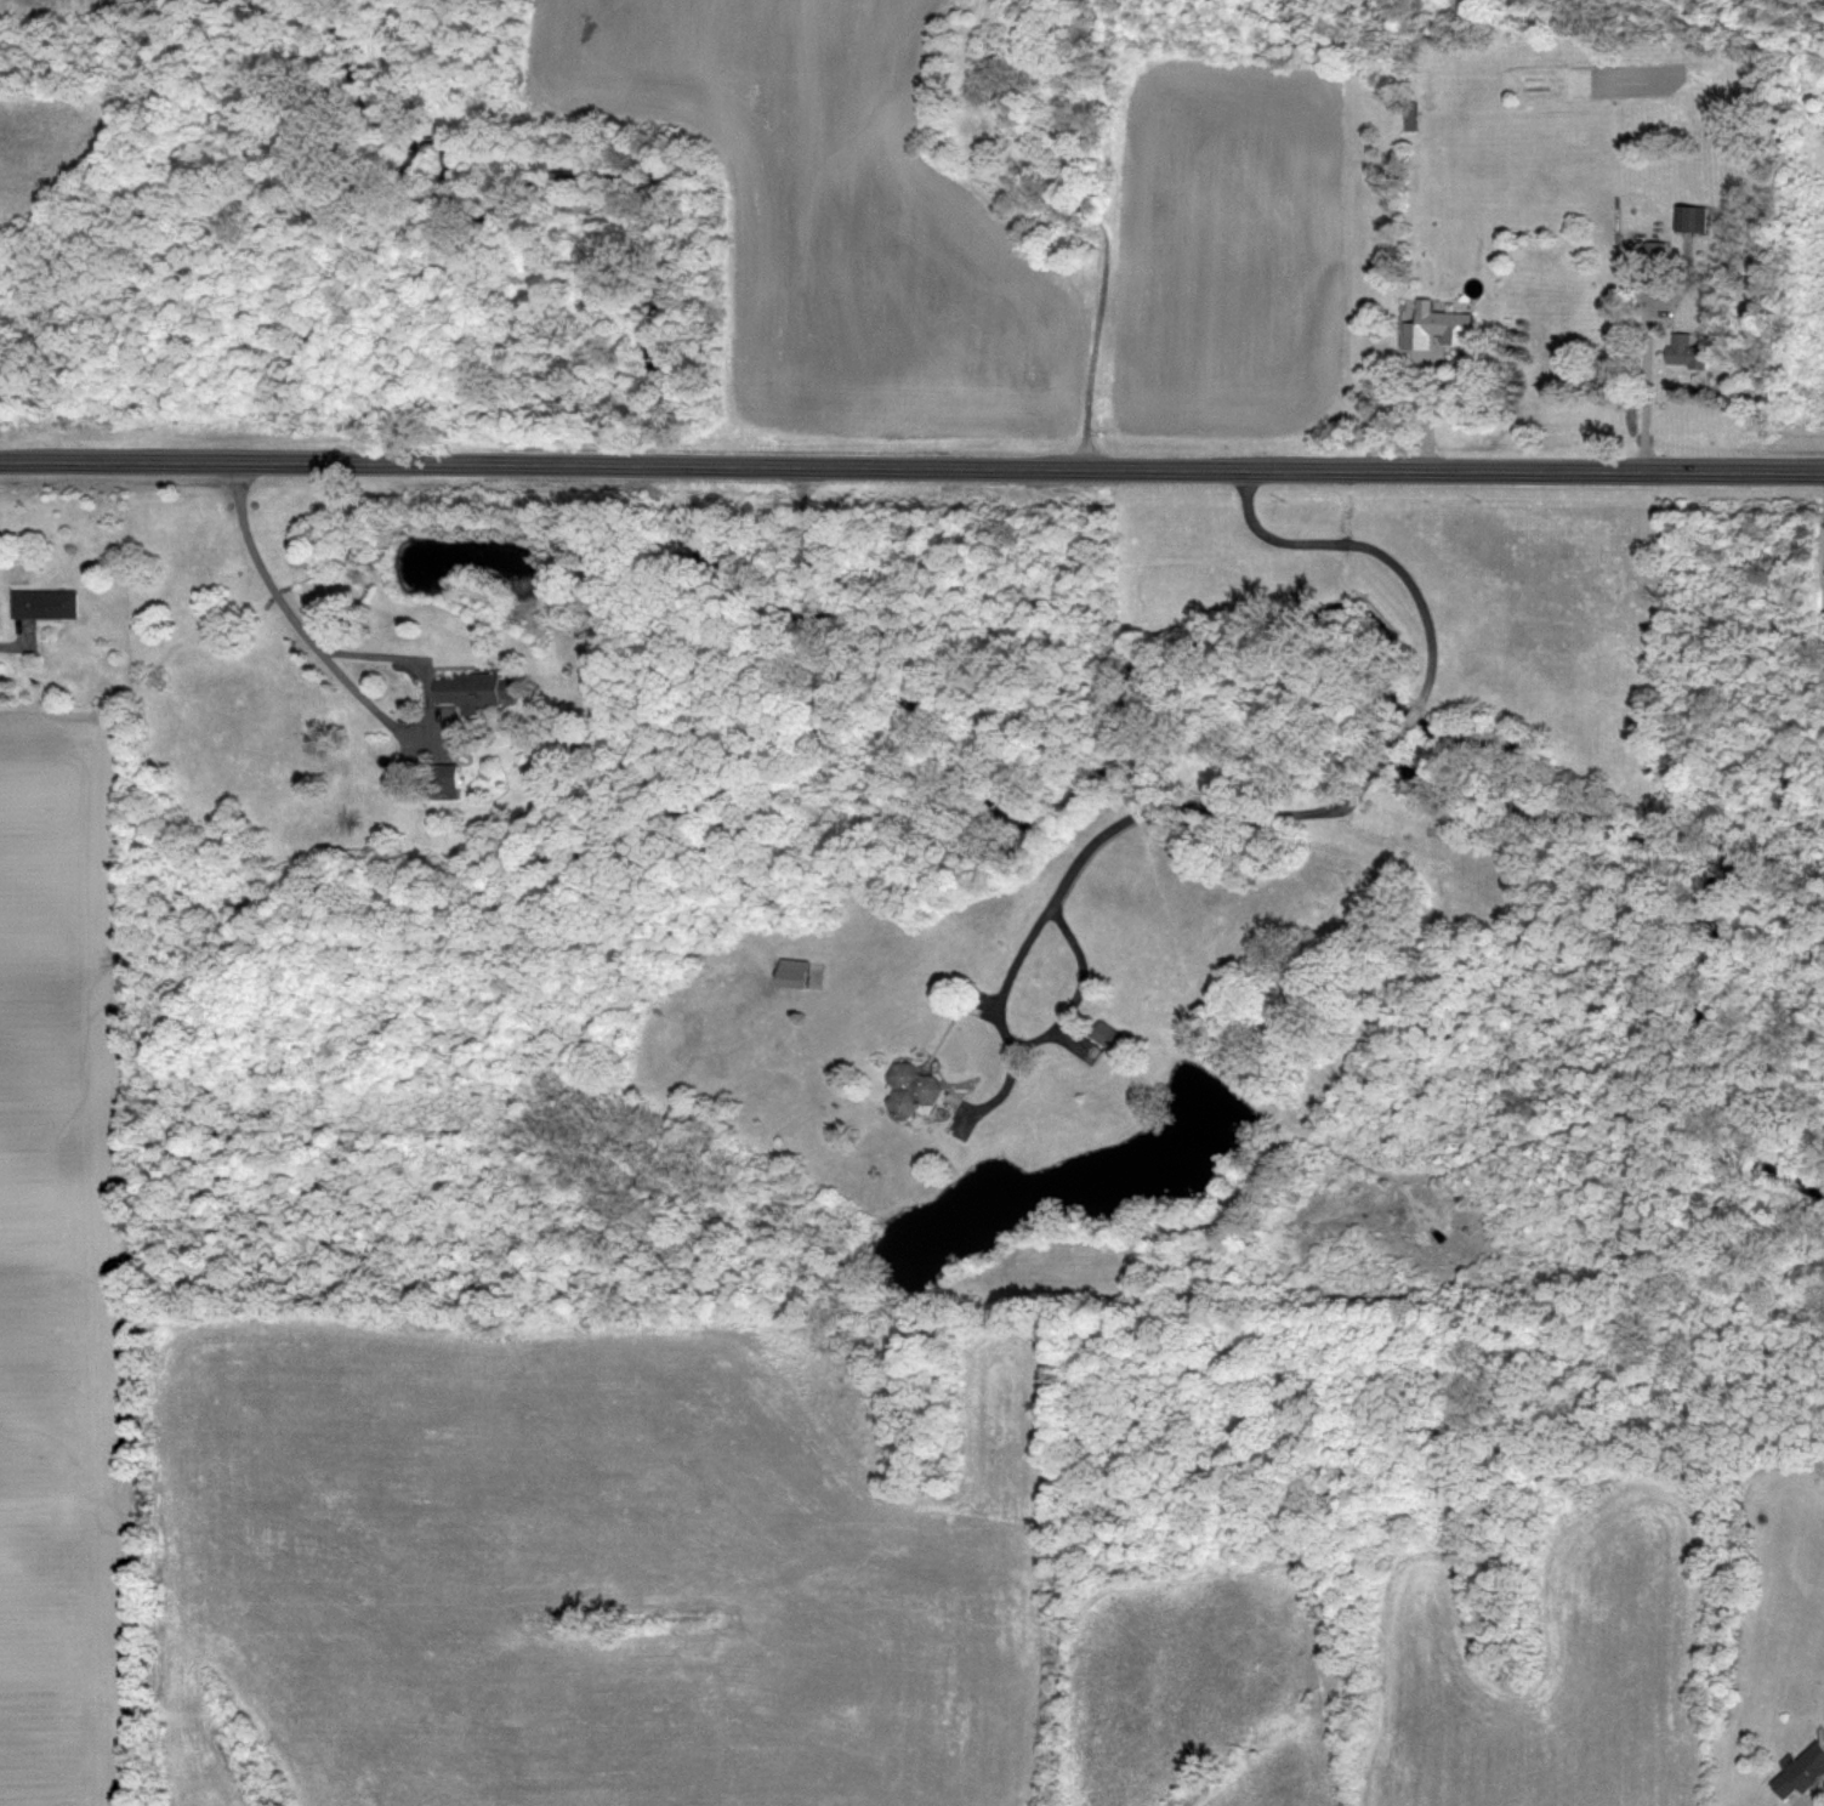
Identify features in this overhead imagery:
building: (1689, 218)
building: (1436, 326)
building: (1683, 352)
road: (911, 464)
road: (1819, 547)
building: (42, 603)
road: (5, 642)
road: (348, 682)
building: (472, 689)
road: (1294, 810)
road: (1078, 989)
building: (926, 1080)
building: (1800, 1772)

